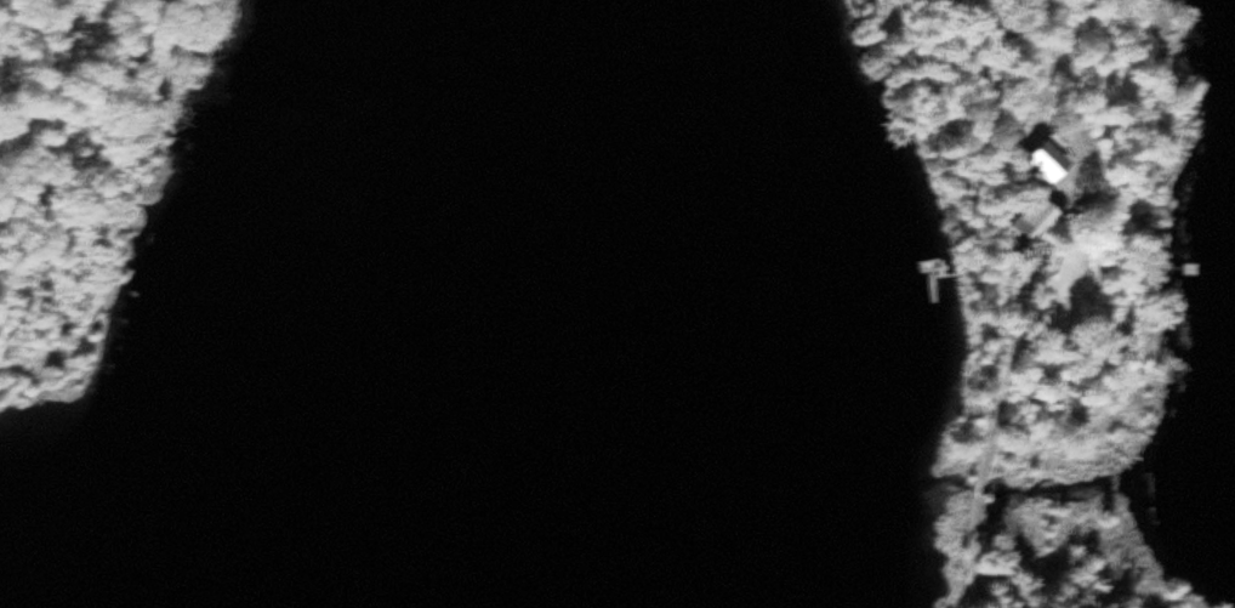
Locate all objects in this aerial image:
road: (1062, 56)
building: (1048, 217)
road: (1009, 370)
road: (979, 488)
road: (972, 551)

